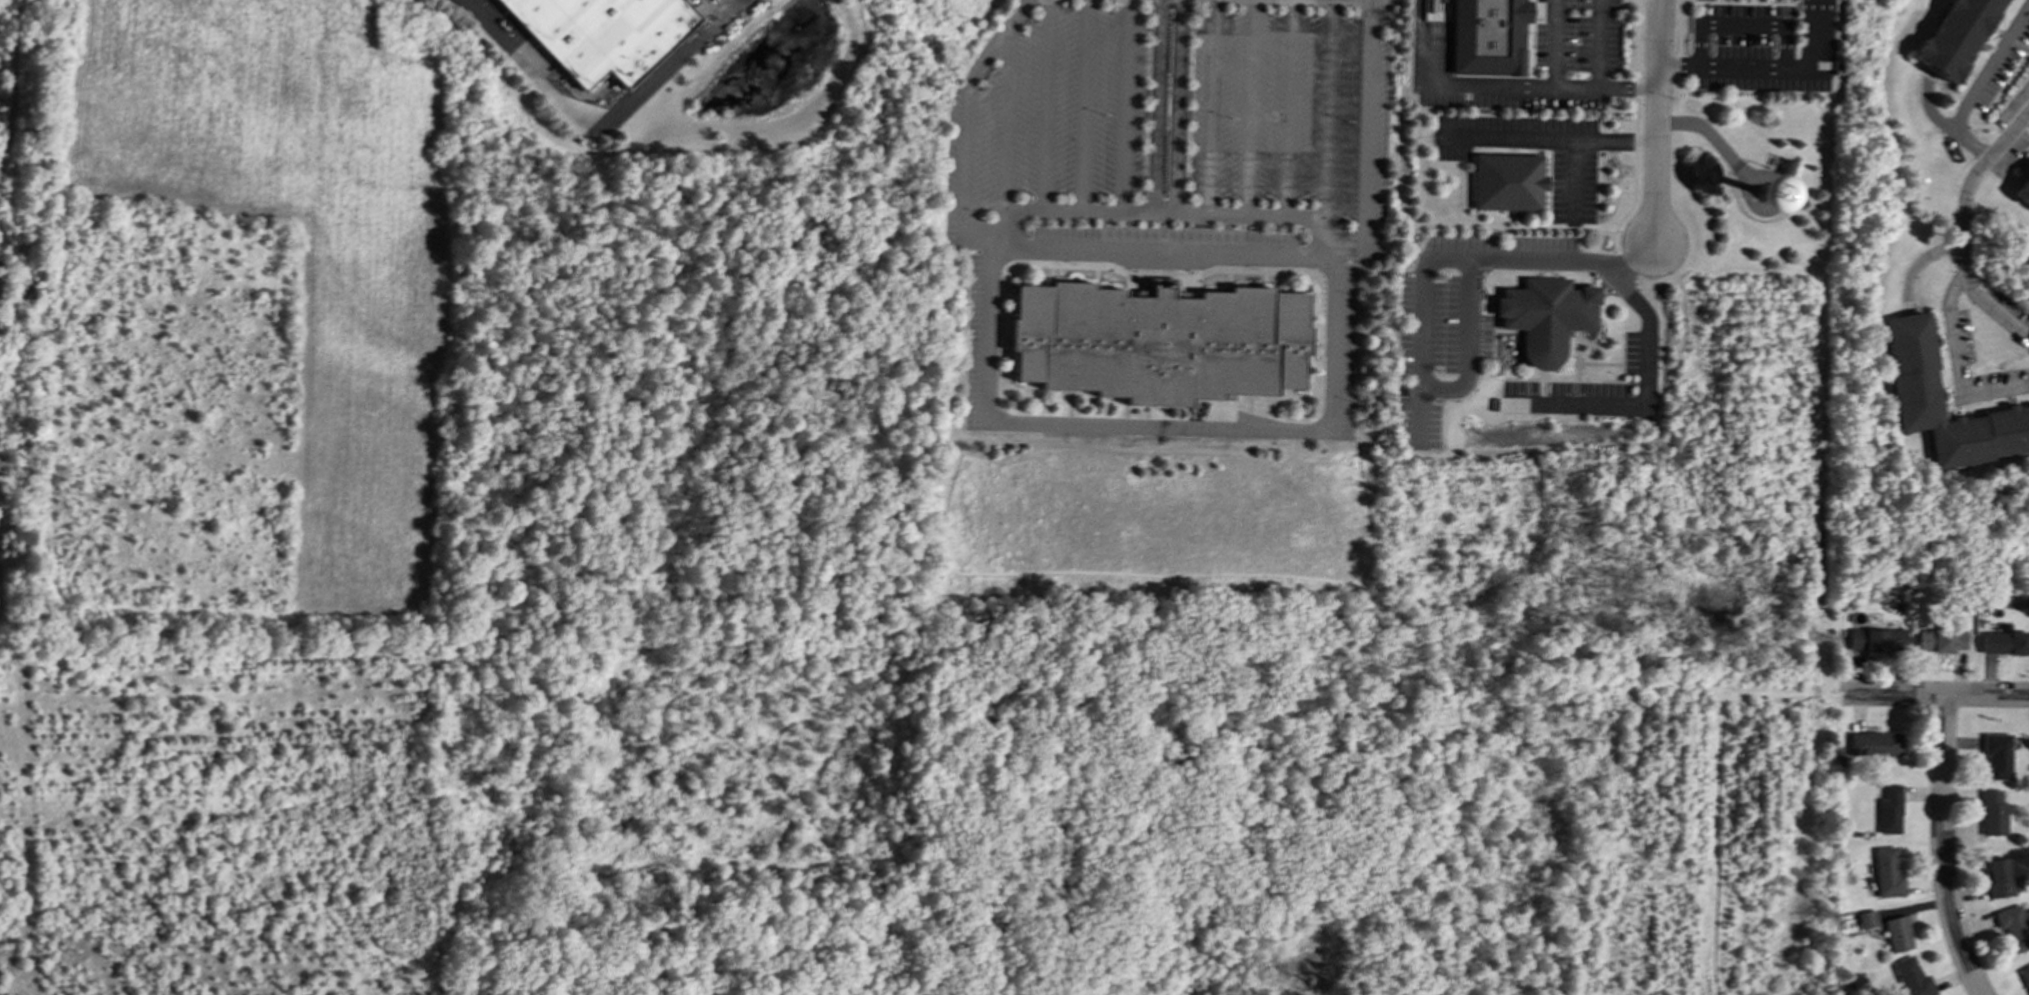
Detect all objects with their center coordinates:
road: (1741, 23)
building: (602, 33)
road: (1818, 34)
building: (1488, 36)
building: (1956, 36)
road: (1414, 41)
road: (1529, 42)
road: (1559, 42)
road: (997, 43)
road: (1676, 50)
road: (1738, 66)
road: (1596, 72)
road: (1505, 83)
road: (1978, 84)
road: (1042, 105)
road: (1084, 106)
road: (1123, 106)
road: (1155, 106)
road: (1179, 107)
road: (1208, 107)
road: (1249, 108)
road: (1288, 108)
road: (1326, 109)
road: (2028, 113)
road: (1009, 116)
road: (1632, 118)
road: (1365, 121)
road: (1655, 121)
road: (598, 124)
road: (1552, 138)
road: (965, 157)
road: (1575, 177)
building: (1506, 182)
water tower: (1769, 190)
building: (2023, 190)
parking lot: (1168, 214)
road: (1322, 218)
road: (1962, 230)
road: (975, 238)
road: (1349, 249)
road: (1435, 258)
building: (1544, 316)
road: (1647, 339)
building: (1159, 340)
road: (1468, 343)
building: (1912, 362)
road: (1957, 362)
road: (1156, 427)
building: (1877, 639)
building: (1940, 640)
building: (2004, 642)
road: (1934, 695)
building: (1874, 743)
building: (1997, 754)
building: (1889, 809)
building: (1991, 812)
road: (1941, 848)
building: (1886, 872)
building: (1997, 878)
building: (1866, 919)
building: (2013, 926)
building: (1897, 933)
building: (2024, 976)
building: (1911, 977)

